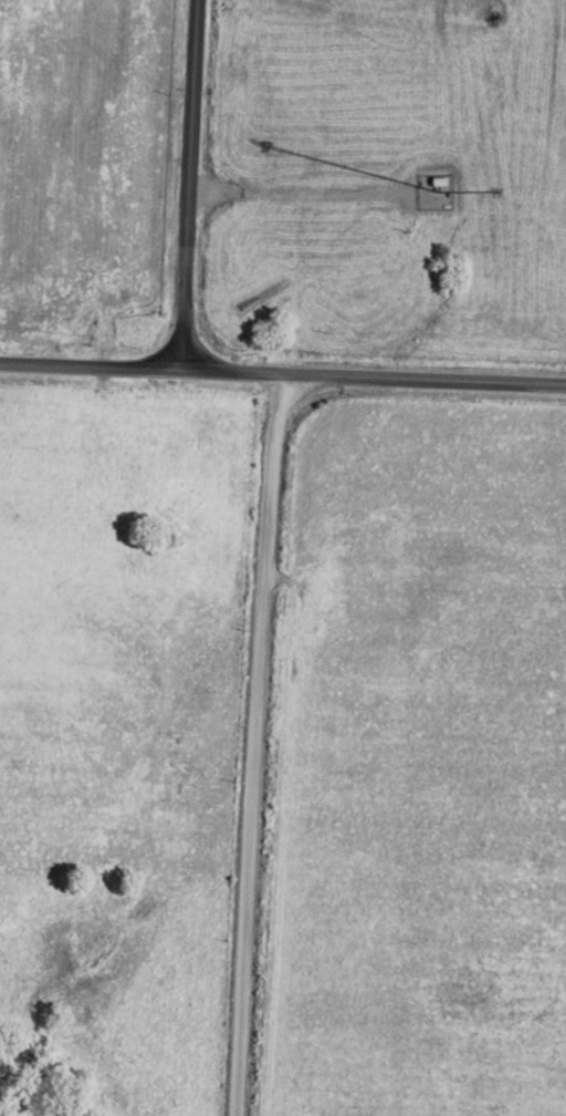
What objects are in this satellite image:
road: (186, 185)
road: (297, 192)
road: (92, 368)
road: (375, 378)
road: (95, 445)
road: (253, 745)

